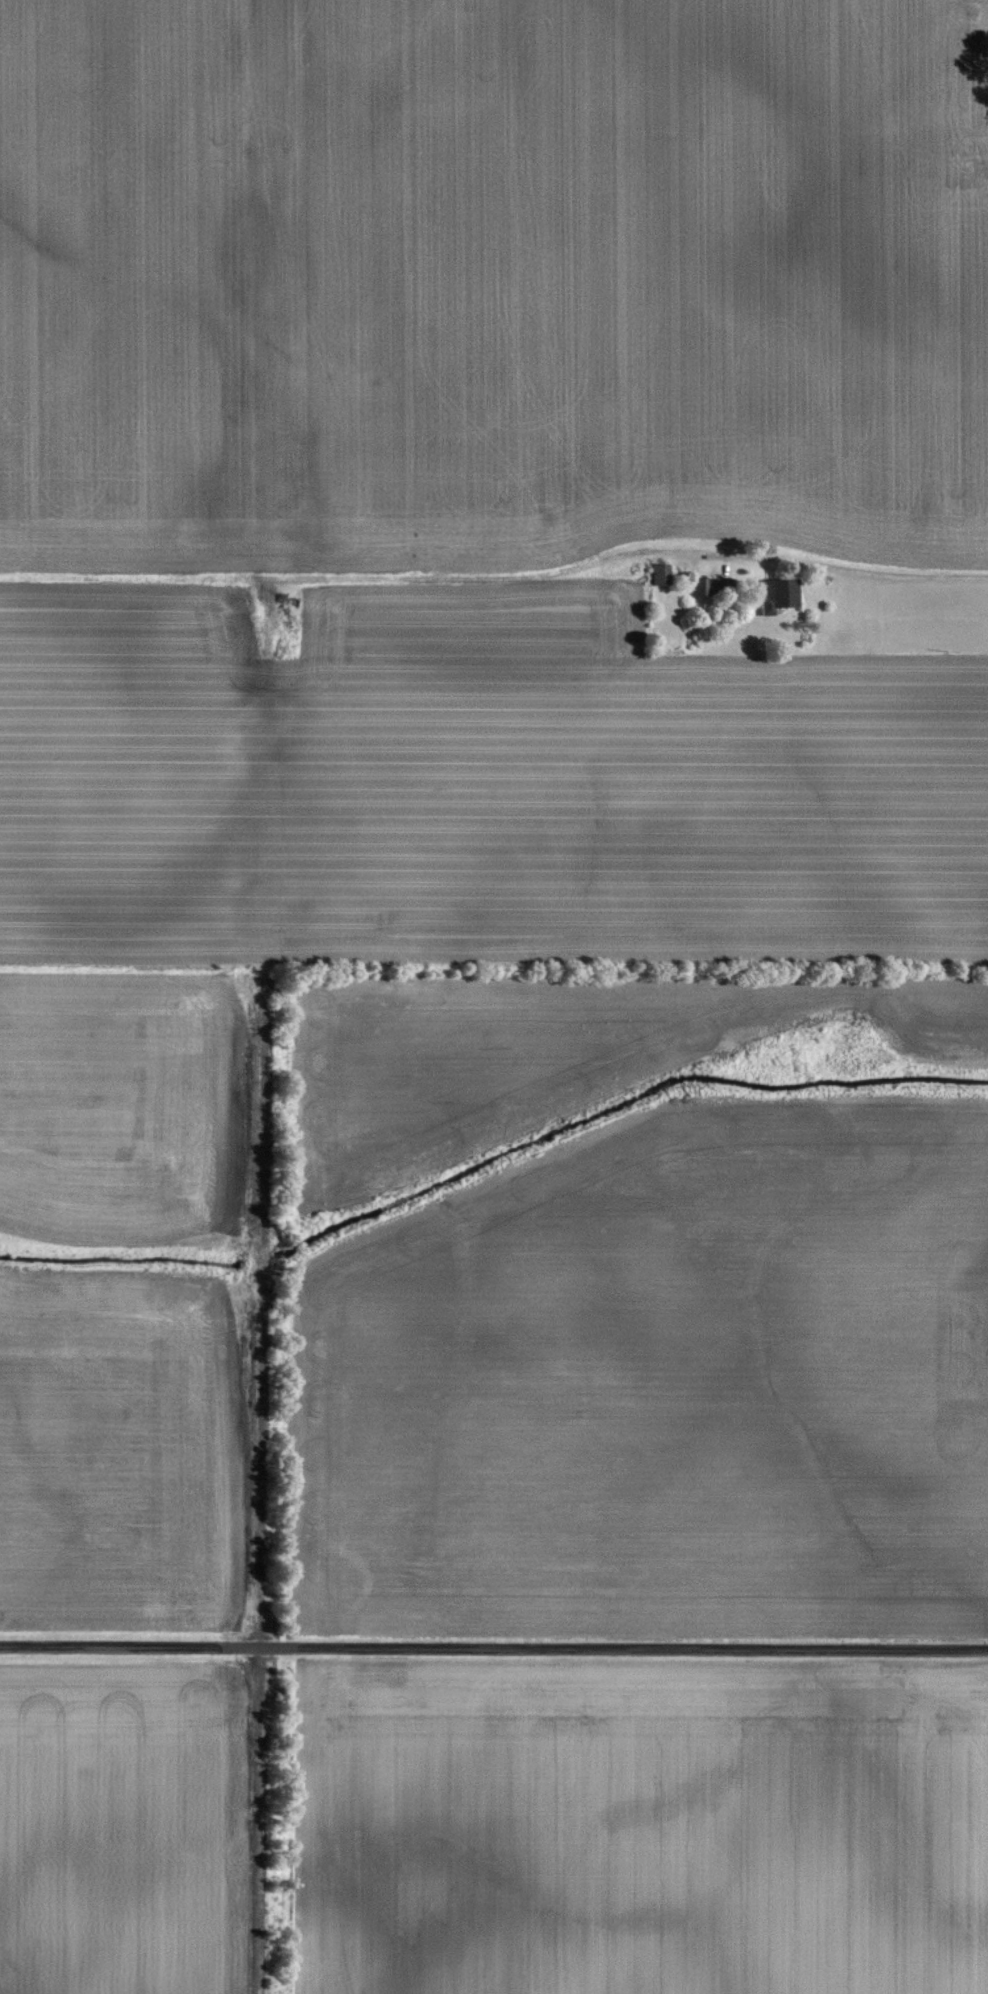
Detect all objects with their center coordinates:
road: (871, 573)
building: (660, 574)
building: (713, 585)
building: (778, 594)
road: (493, 1647)

